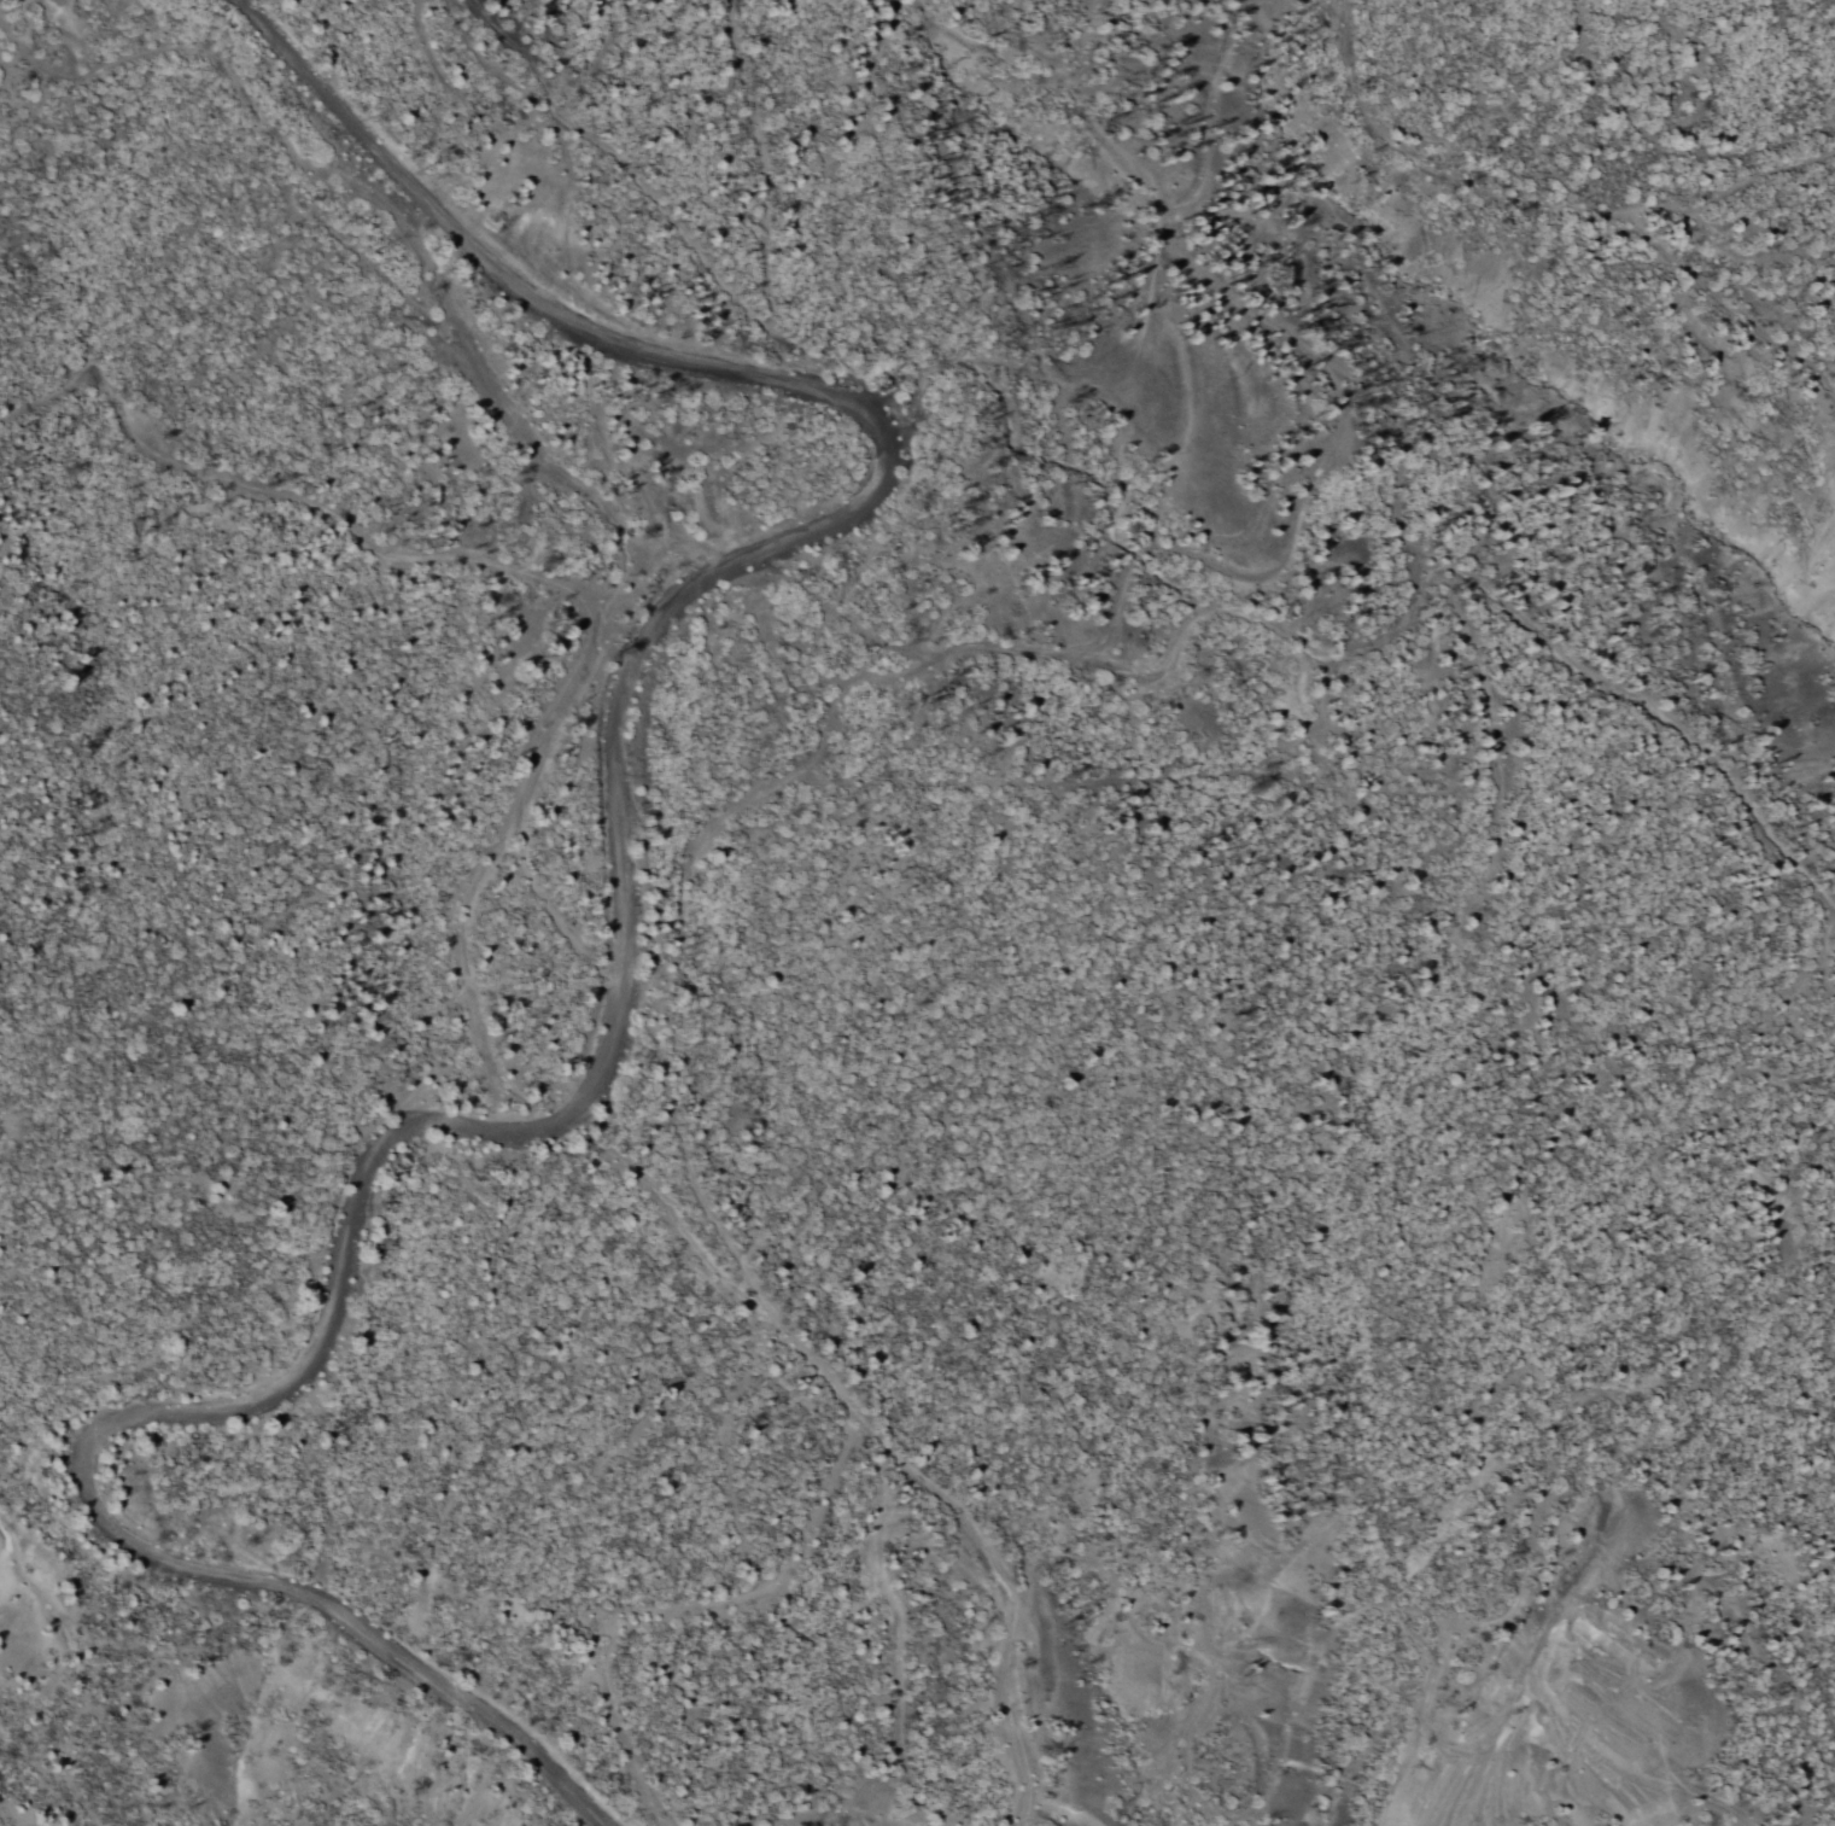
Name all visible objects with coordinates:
quarry: (65, 269)
road: (626, 934)

